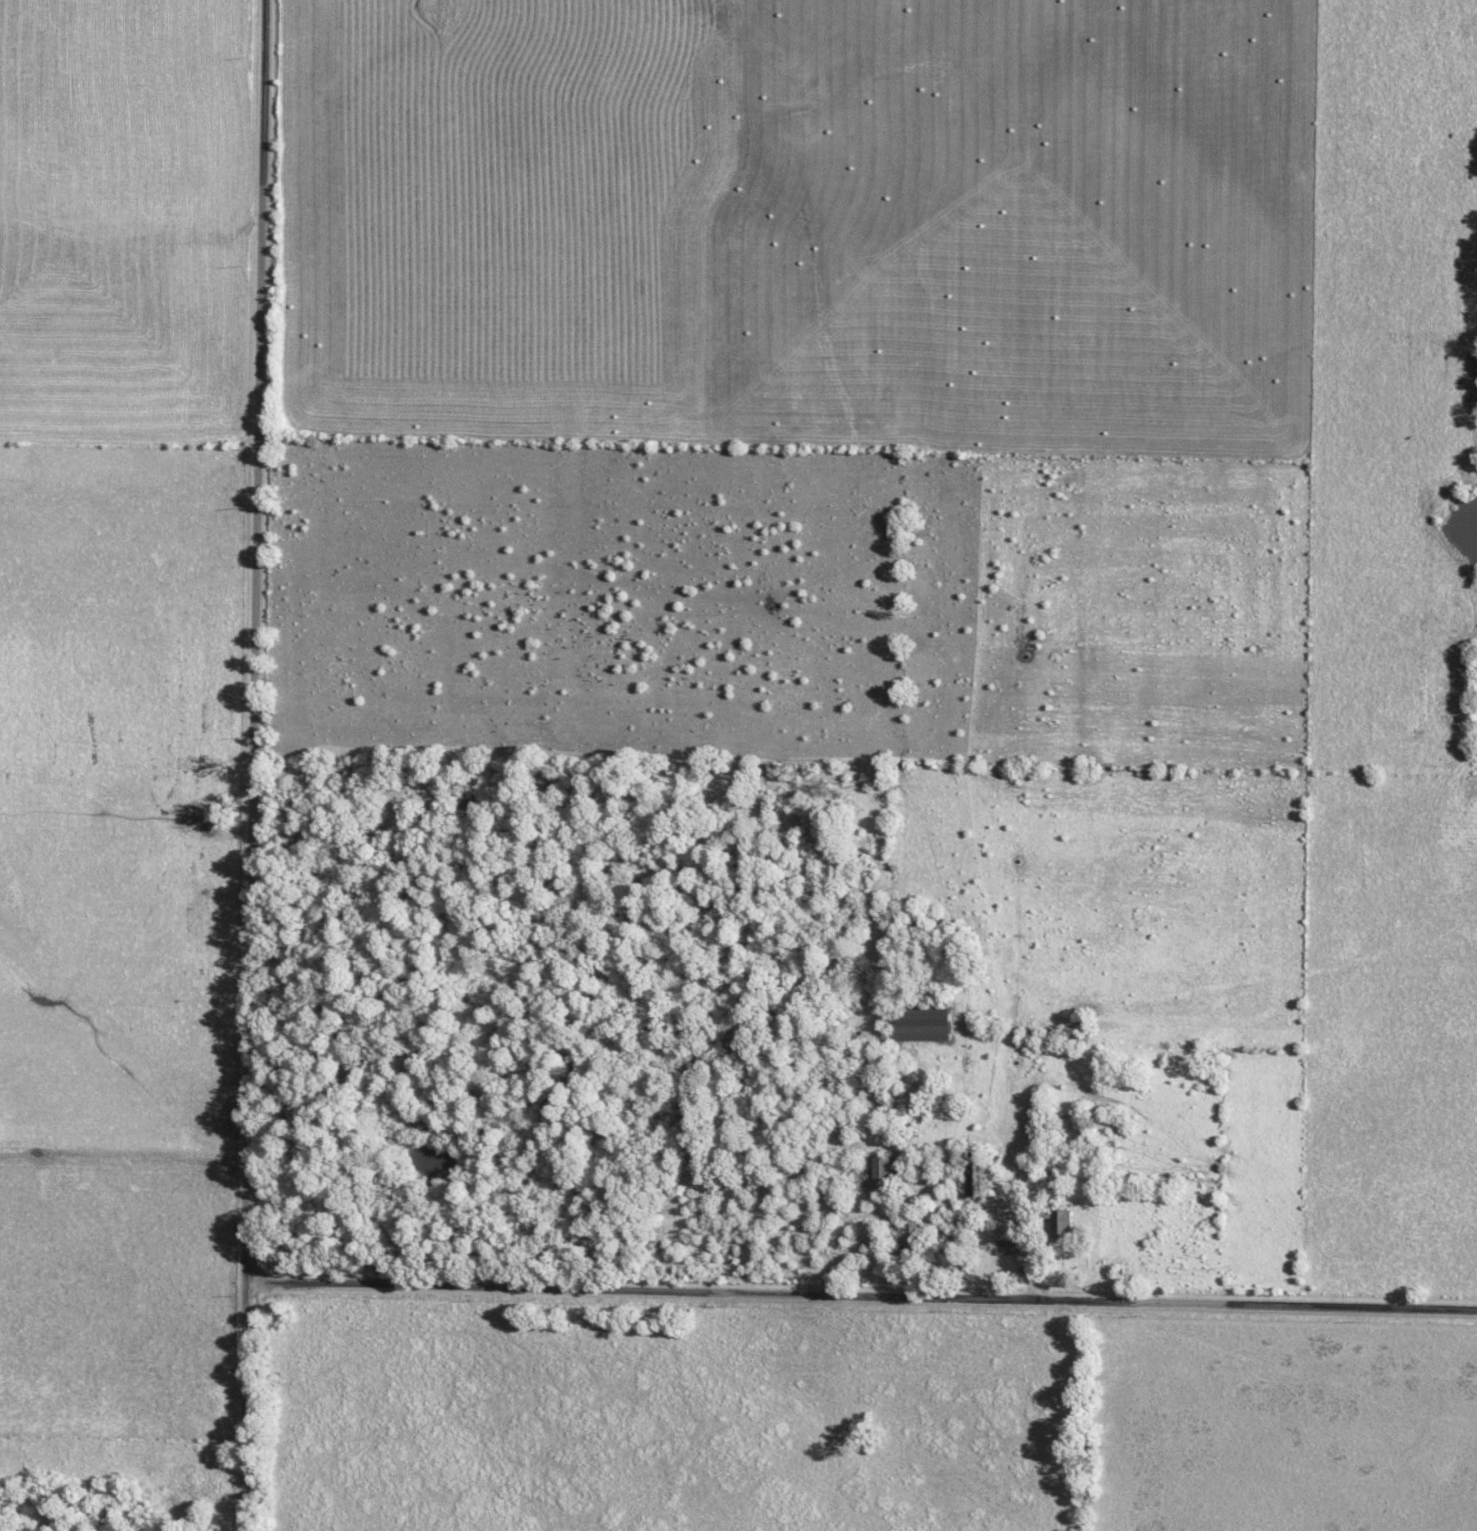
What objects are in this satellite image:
road: (257, 765)
building: (925, 1025)
building: (885, 1171)
building: (986, 1177)
building: (1068, 1223)
building: (1010, 1246)
road: (863, 1295)

